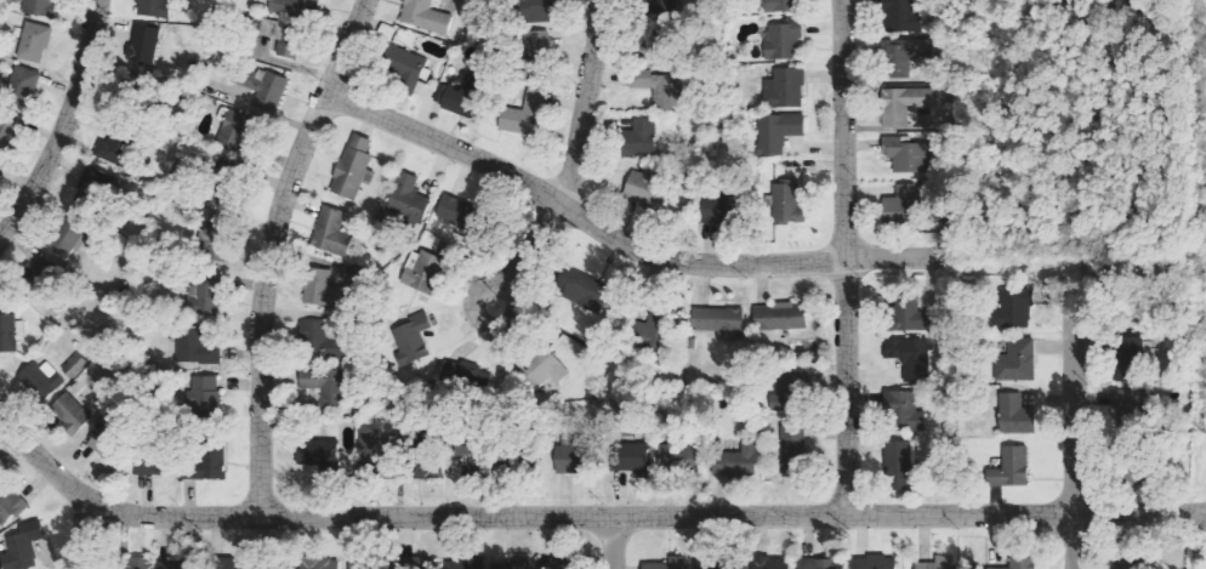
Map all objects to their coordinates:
building: (662, 6)
building: (784, 6)
building: (41, 7)
building: (297, 7)
building: (155, 8)
building: (535, 11)
building: (899, 16)
building: (426, 17)
building: (285, 38)
building: (785, 41)
building: (36, 42)
building: (146, 44)
building: (536, 49)
building: (906, 56)
building: (403, 68)
building: (24, 85)
building: (659, 87)
building: (785, 89)
building: (269, 90)
building: (459, 98)
building: (903, 104)
building: (524, 115)
building: (8, 127)
road: (64, 127)
building: (235, 132)
building: (778, 132)
building: (641, 138)
building: (108, 153)
building: (906, 154)
road: (574, 160)
building: (355, 167)
building: (90, 186)
building: (645, 193)
building: (408, 198)
building: (787, 203)
building: (904, 205)
building: (721, 209)
road: (576, 217)
building: (332, 232)
building: (69, 238)
building: (216, 239)
road: (271, 250)
road: (899, 255)
road: (846, 256)
building: (425, 272)
building: (581, 288)
building: (323, 289)
building: (207, 295)
building: (1016, 309)
building: (911, 315)
building: (783, 317)
building: (721, 322)
building: (652, 330)
building: (11, 332)
building: (413, 338)
building: (323, 343)
building: (198, 346)
building: (912, 357)
building: (1017, 362)
building: (78, 365)
building: (546, 366)
building: (42, 380)
building: (325, 383)
building: (790, 392)
building: (207, 396)
building: (1130, 404)
building: (909, 411)
building: (73, 412)
building: (1017, 415)
road: (1071, 432)
building: (108, 445)
building: (796, 450)
building: (374, 454)
building: (470, 454)
building: (325, 455)
building: (570, 455)
building: (899, 456)
building: (425, 457)
building: (630, 457)
building: (736, 460)
building: (150, 462)
building: (206, 463)
building: (1011, 468)
building: (6, 507)
road: (585, 516)
road: (84, 536)
road: (610, 542)
building: (21, 552)
building: (1022, 561)
building: (228, 562)
building: (518, 562)
building: (138, 563)
building: (320, 563)
building: (365, 563)
building: (556, 563)
building: (774, 563)
building: (820, 563)
building: (940, 563)
building: (171, 564)
building: (669, 564)

